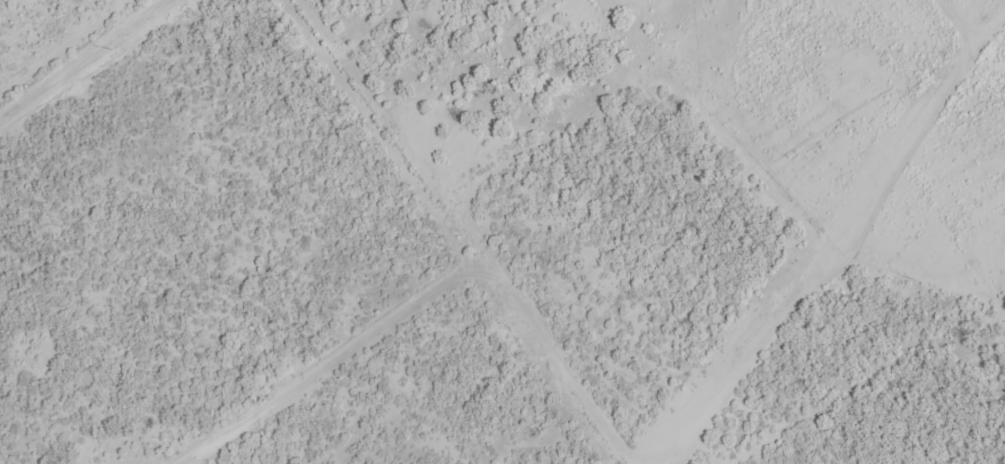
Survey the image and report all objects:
building: (481, 13)
road: (82, 59)

